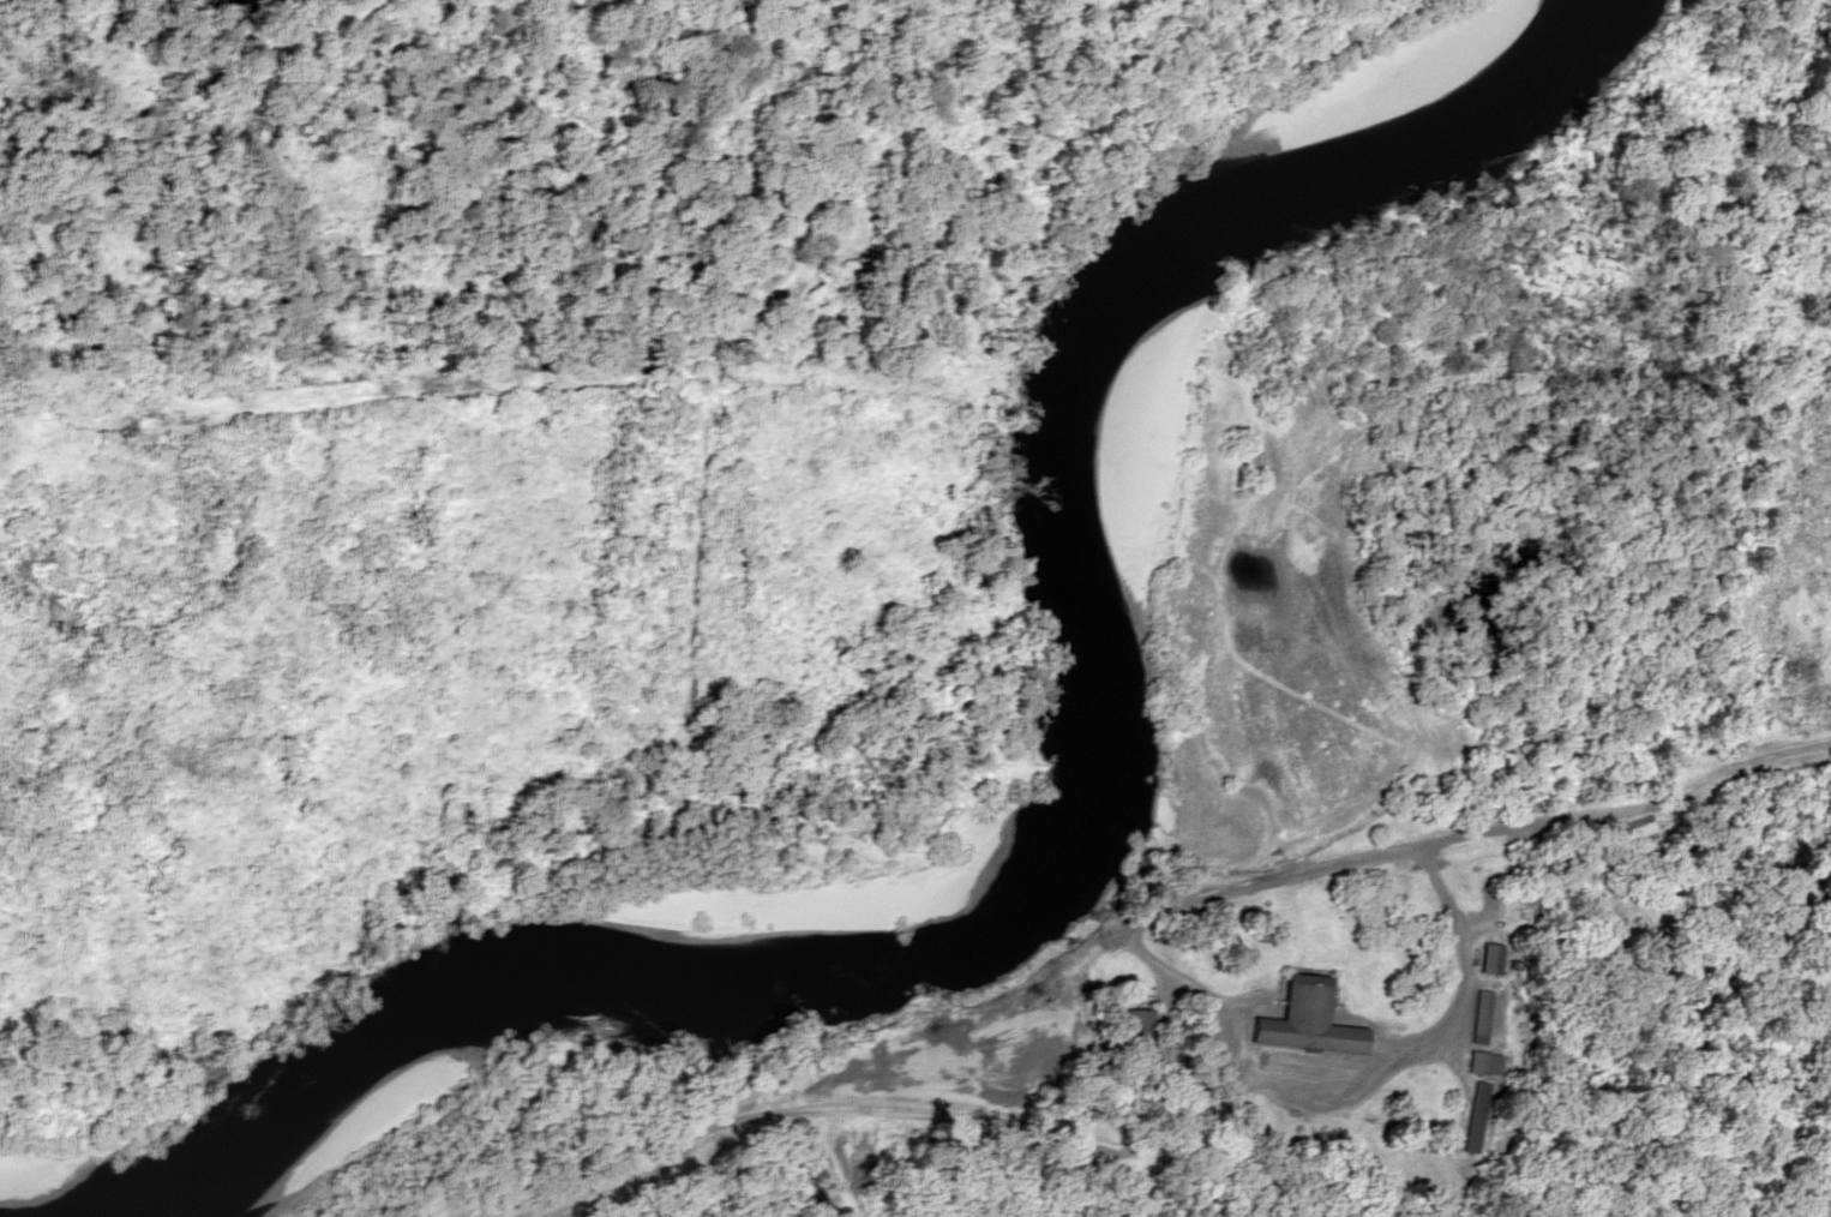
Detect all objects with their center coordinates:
river: (986, 837)
building: (1488, 959)
building: (1479, 1017)
building: (1305, 1020)
building: (1137, 1027)
building: (1483, 1063)
building: (1476, 1117)

